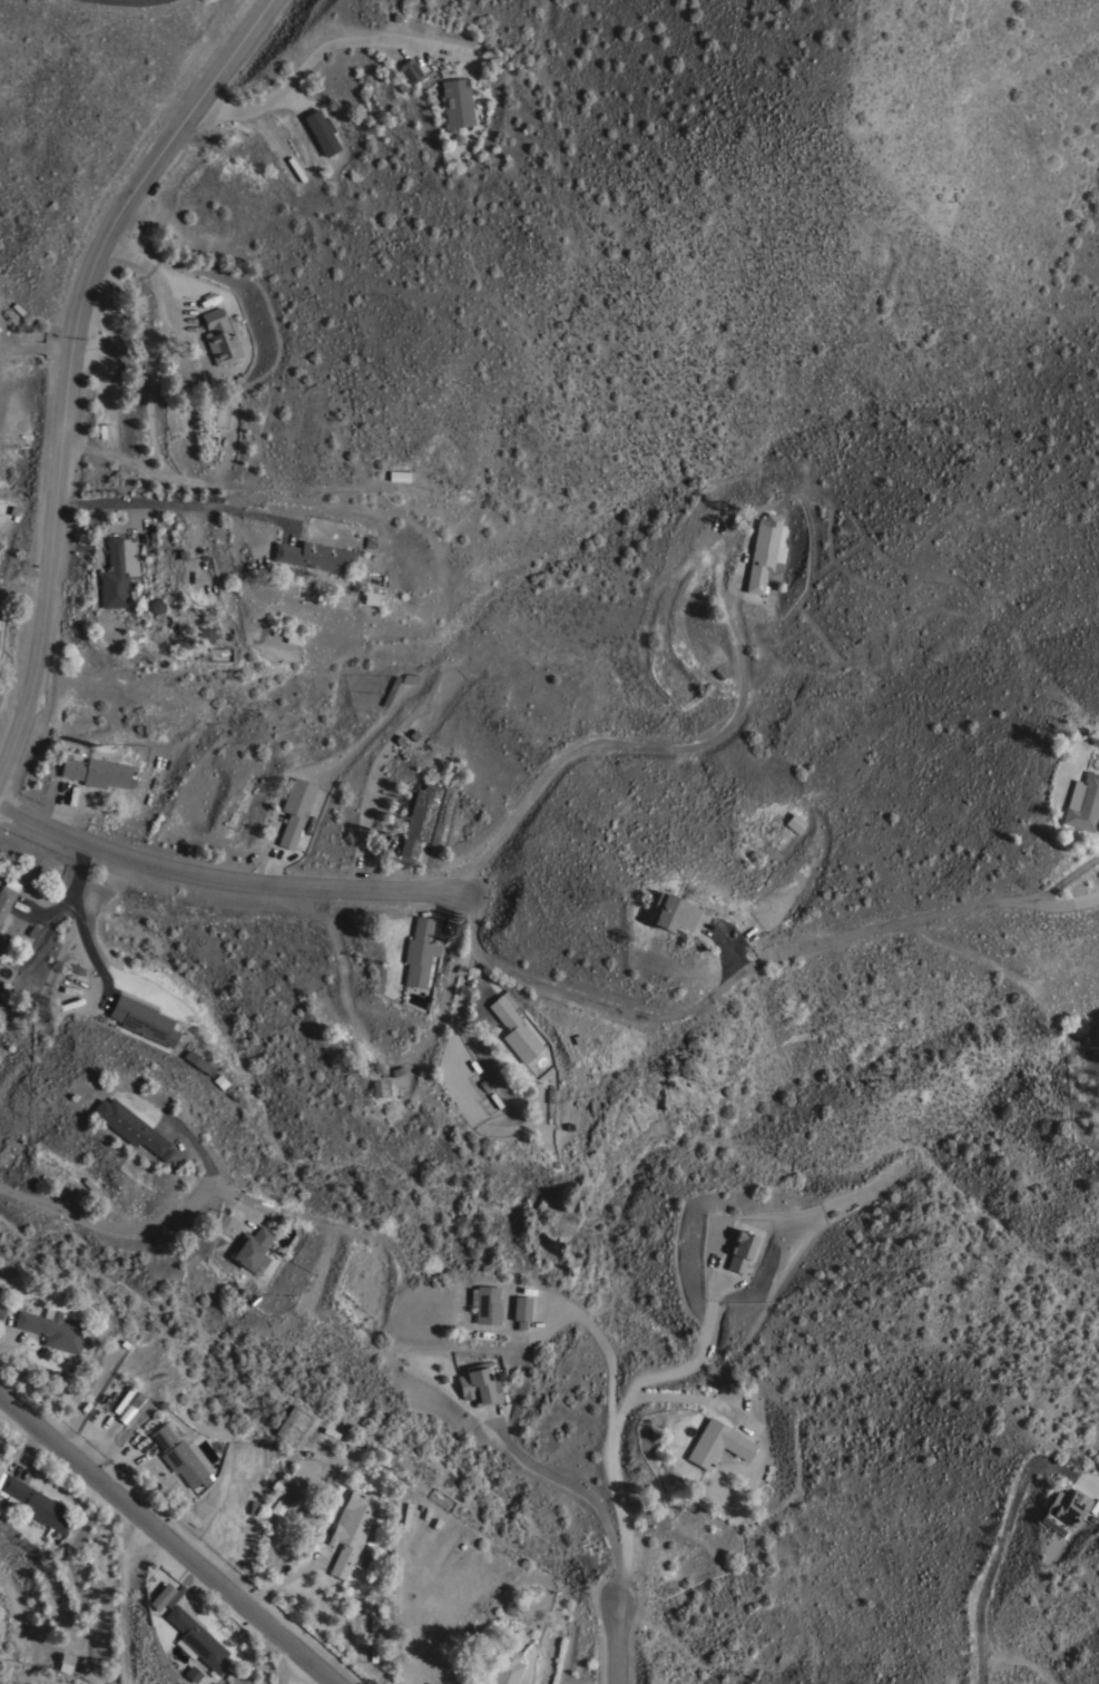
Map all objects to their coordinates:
road: (130, 1)
road: (312, 58)
building: (410, 70)
building: (455, 102)
building: (321, 131)
road: (157, 274)
building: (219, 336)
road: (35, 347)
road: (69, 361)
building: (104, 430)
building: (398, 474)
road: (177, 505)
building: (764, 554)
building: (316, 556)
building: (116, 570)
building: (369, 597)
road: (24, 598)
building: (157, 605)
building: (207, 635)
building: (293, 637)
building: (390, 691)
building: (1095, 738)
road: (614, 741)
building: (96, 772)
building: (1081, 802)
road: (60, 810)
building: (294, 810)
building: (418, 821)
building: (794, 822)
road: (1066, 878)
road: (72, 888)
building: (7, 894)
building: (671, 912)
building: (0, 922)
building: (421, 927)
road: (84, 938)
road: (732, 948)
building: (418, 960)
road: (531, 982)
building: (144, 1019)
building: (514, 1029)
building: (197, 1061)
building: (127, 1125)
road: (146, 1228)
building: (252, 1250)
building: (740, 1250)
building: (484, 1303)
building: (521, 1308)
building: (1, 1312)
building: (51, 1328)
road: (602, 1347)
building: (478, 1384)
road: (695, 1400)
road: (615, 1419)
building: (285, 1420)
building: (716, 1443)
building: (178, 1456)
road: (570, 1485)
building: (1, 1494)
building: (35, 1504)
building: (274, 1508)
building: (1062, 1509)
building: (351, 1528)
road: (169, 1537)
building: (249, 1540)
road: (997, 1550)
building: (160, 1596)
building: (195, 1636)
road: (617, 1644)
road: (267, 1655)
building: (65, 1662)
building: (507, 1668)
building: (424, 1683)
building: (431, 1683)

